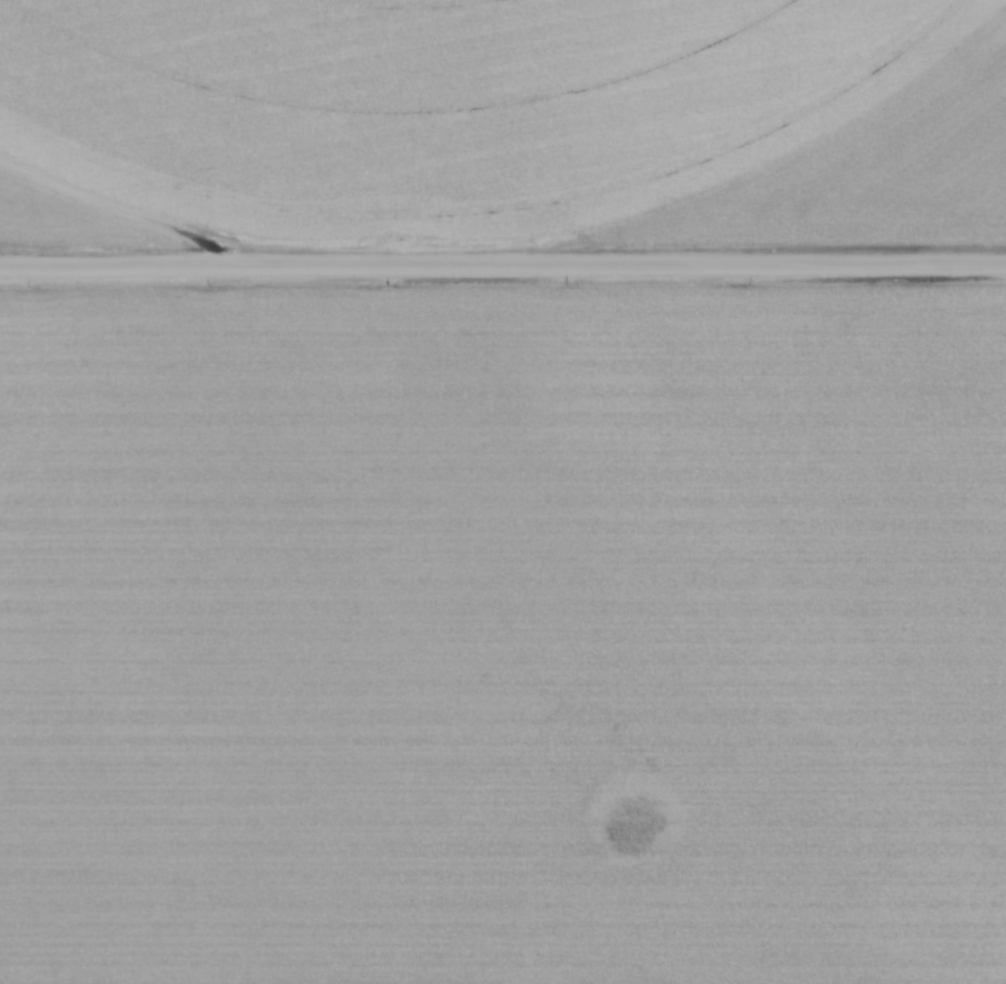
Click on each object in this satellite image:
road: (503, 267)

